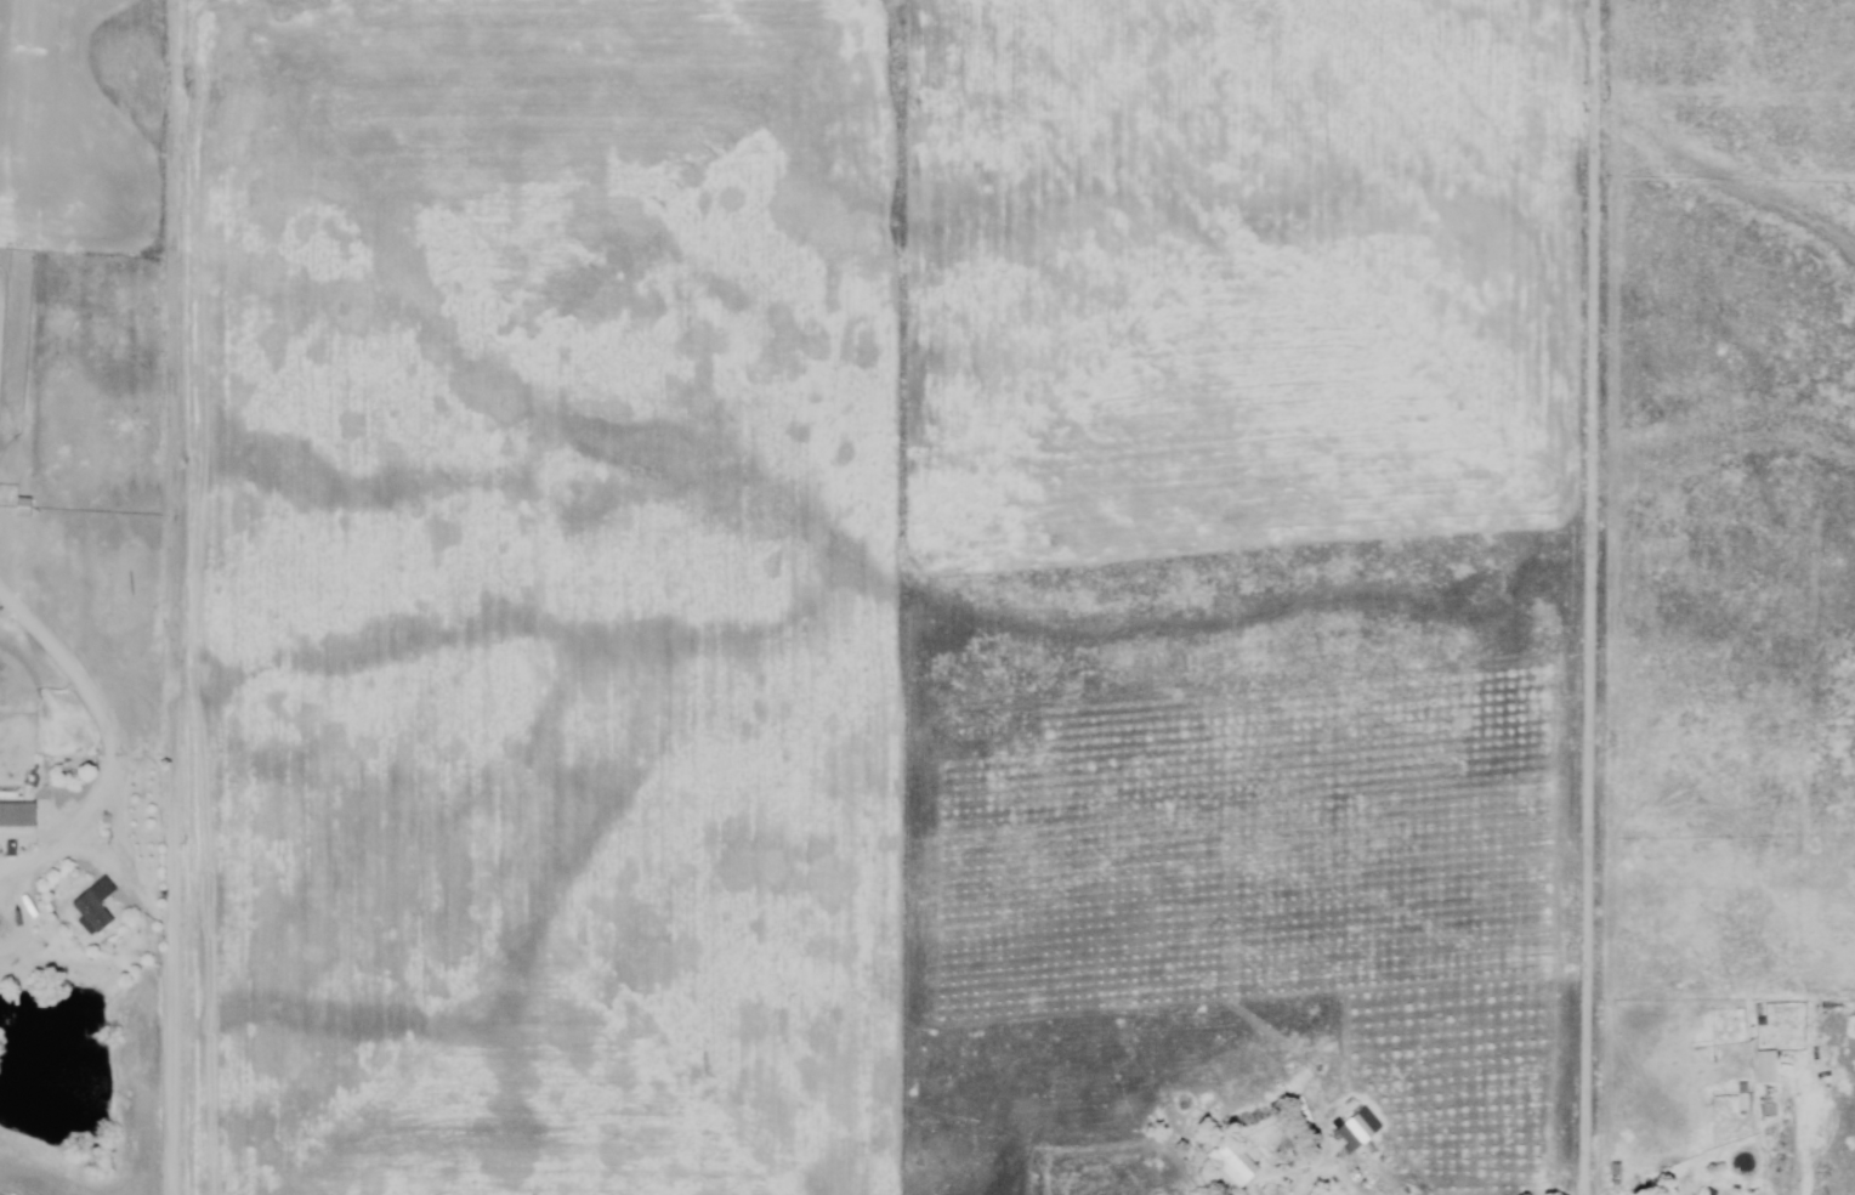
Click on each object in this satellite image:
building: (21, 509)
road: (1587, 596)
road: (176, 597)
building: (17, 816)
road: (89, 846)
building: (96, 906)
building: (1765, 1066)
building: (1745, 1097)
building: (1358, 1129)
building: (1236, 1165)
building: (1616, 1173)
building: (1712, 1191)

